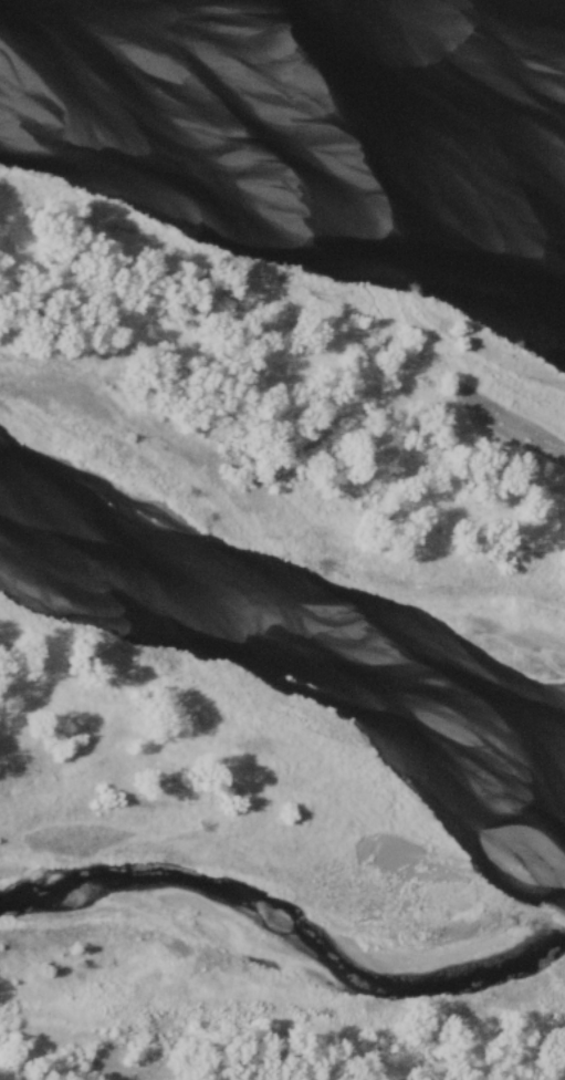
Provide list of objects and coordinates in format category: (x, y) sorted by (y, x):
river: (282, 159)

